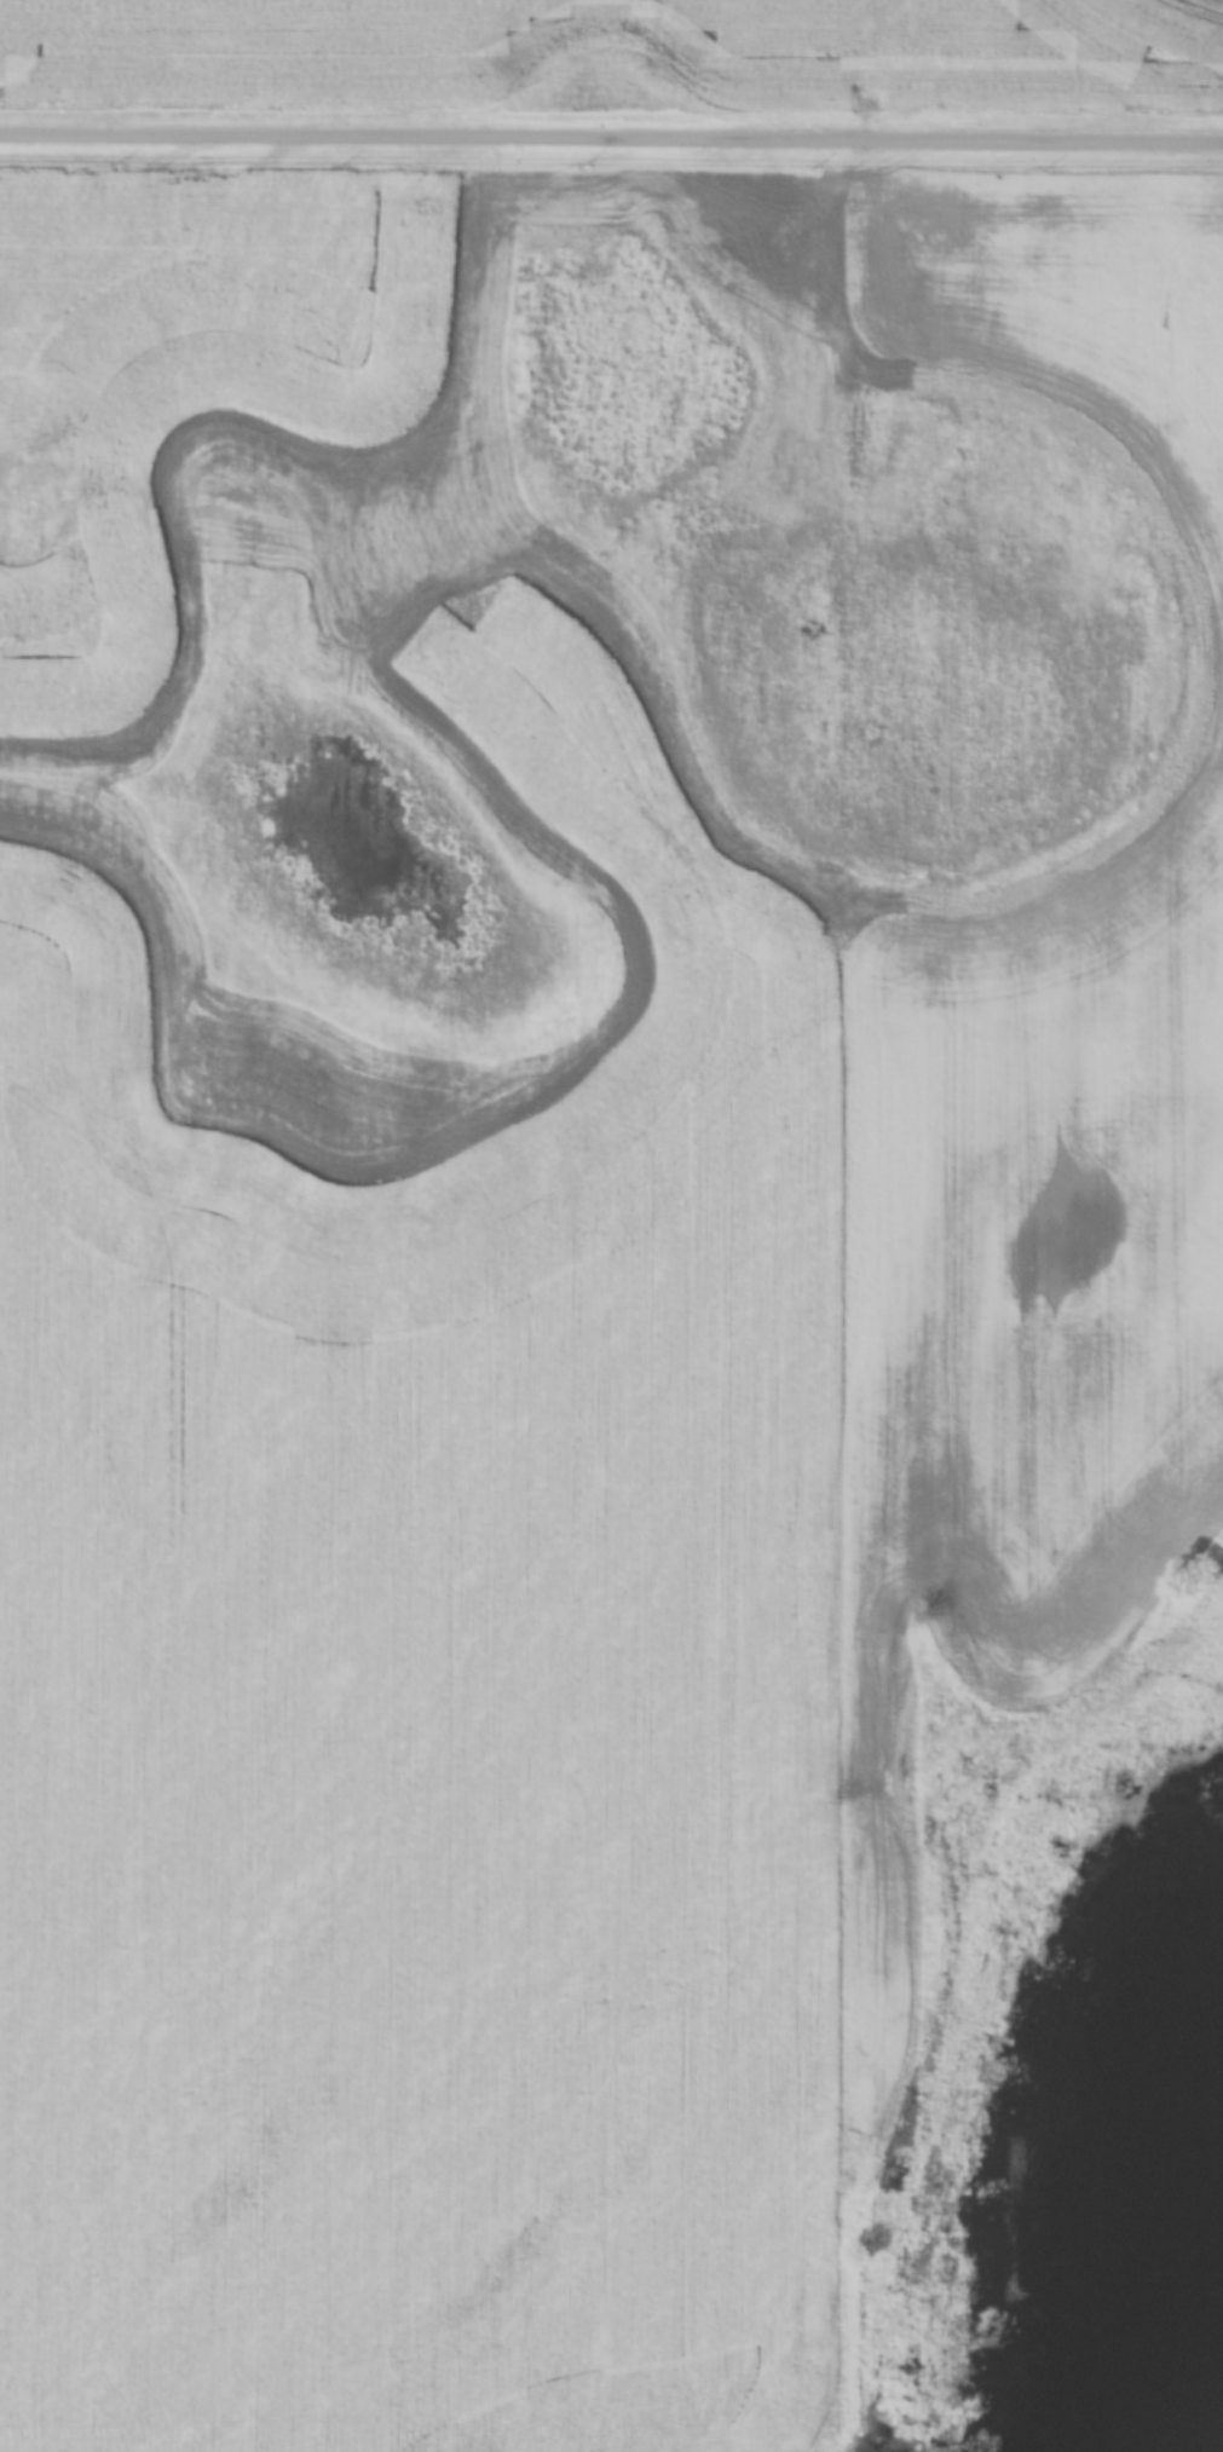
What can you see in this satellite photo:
road: (611, 135)

